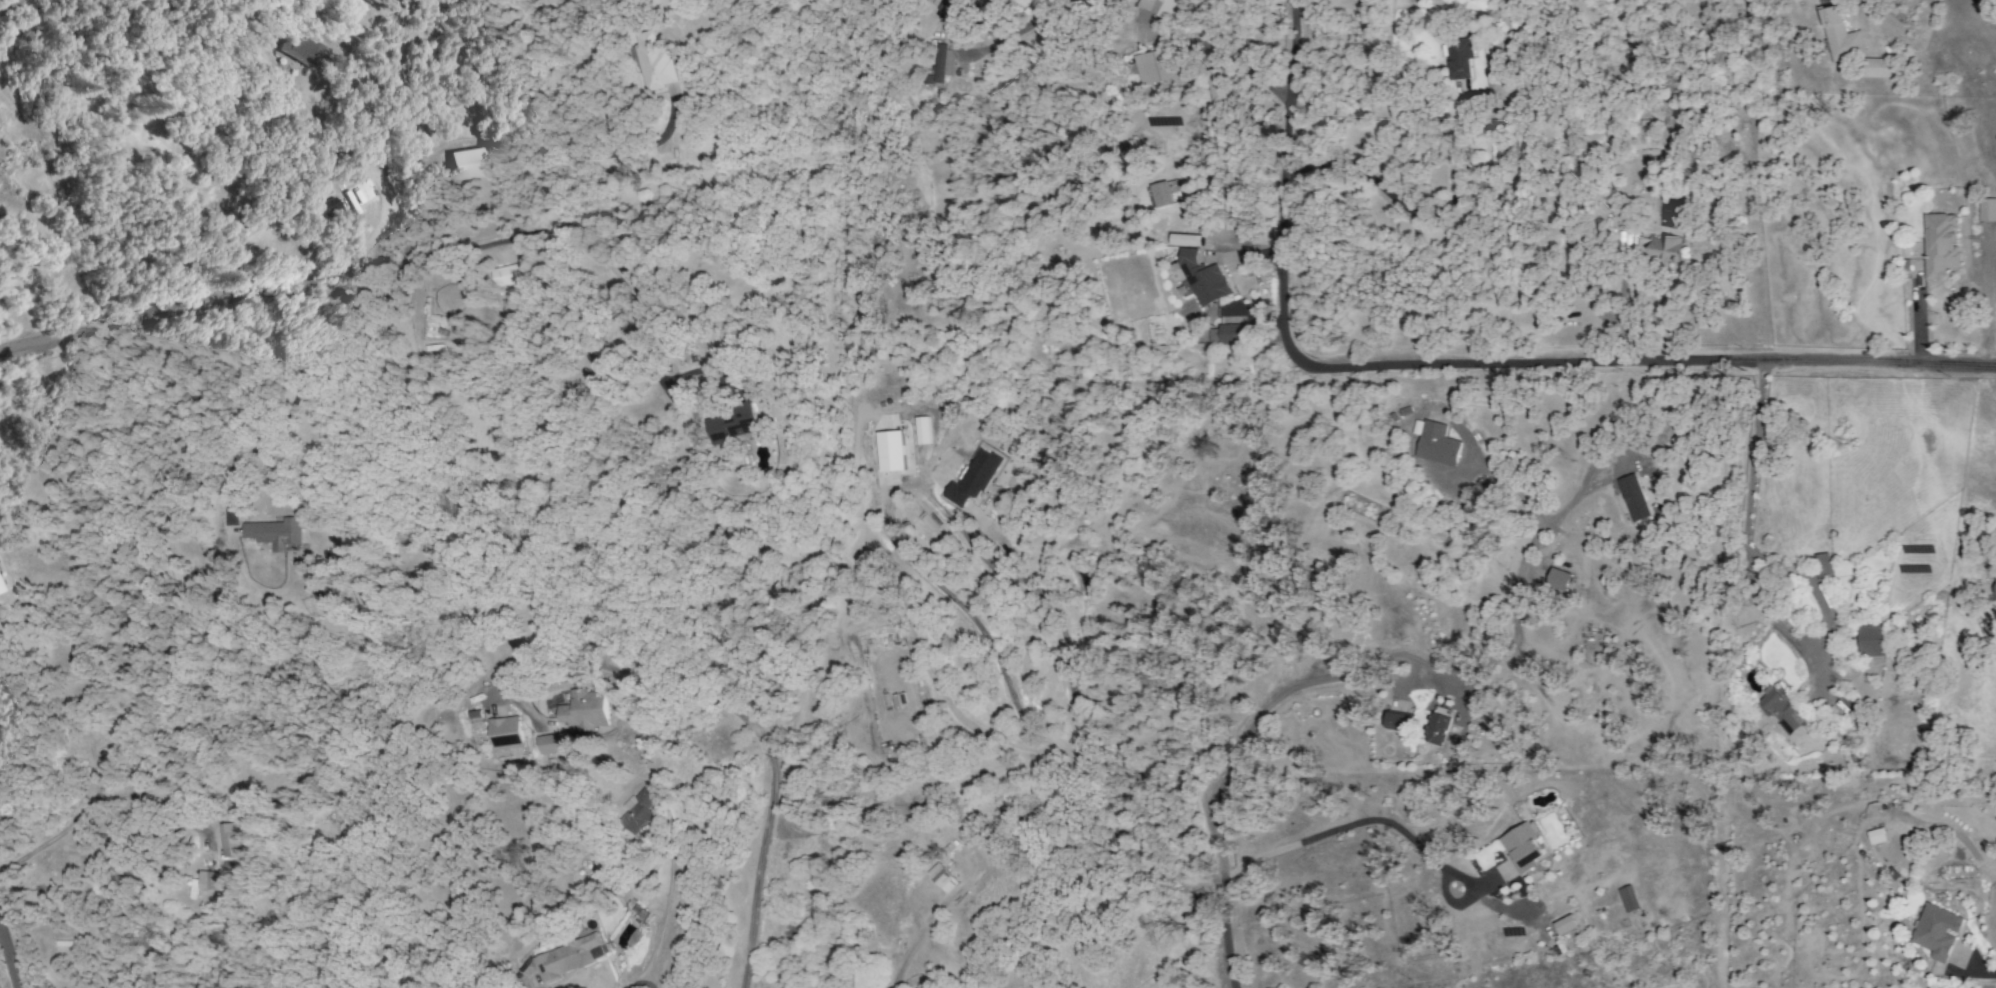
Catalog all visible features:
road: (2, 1)
building: (1158, 7)
building: (948, 10)
building: (1840, 36)
road: (1898, 39)
building: (300, 48)
building: (656, 59)
building: (1458, 59)
road: (1239, 64)
building: (940, 65)
building: (1154, 67)
building: (1876, 68)
building: (1212, 84)
building: (469, 164)
road: (1285, 188)
building: (1162, 193)
road: (311, 199)
building: (327, 210)
building: (1987, 210)
road: (1412, 213)
building: (1184, 240)
building: (1939, 245)
building: (1665, 248)
building: (1203, 278)
building: (502, 279)
road: (280, 287)
road: (1985, 308)
road: (643, 311)
road: (1623, 313)
road: (1918, 317)
building: (1227, 335)
road: (1651, 363)
building: (736, 424)
building: (1436, 444)
building: (890, 451)
building: (972, 478)
building: (1633, 498)
road: (1748, 512)
building: (275, 533)
building: (1821, 566)
building: (1558, 579)
building: (1995, 590)
building: (1869, 641)
road: (1414, 670)
building: (583, 710)
building: (1779, 710)
road: (1074, 716)
road: (744, 721)
building: (1398, 721)
building: (1437, 729)
building: (505, 733)
building: (552, 743)
road: (90, 810)
building: (636, 811)
road: (1348, 826)
building: (1876, 836)
building: (227, 841)
building: (1522, 847)
building: (942, 878)
building: (206, 880)
road: (1227, 886)
building: (1628, 899)
building: (639, 912)
road: (663, 915)
building: (1565, 924)
building: (1935, 931)
building: (565, 958)
road: (7, 963)
road: (1976, 972)
road: (639, 983)

